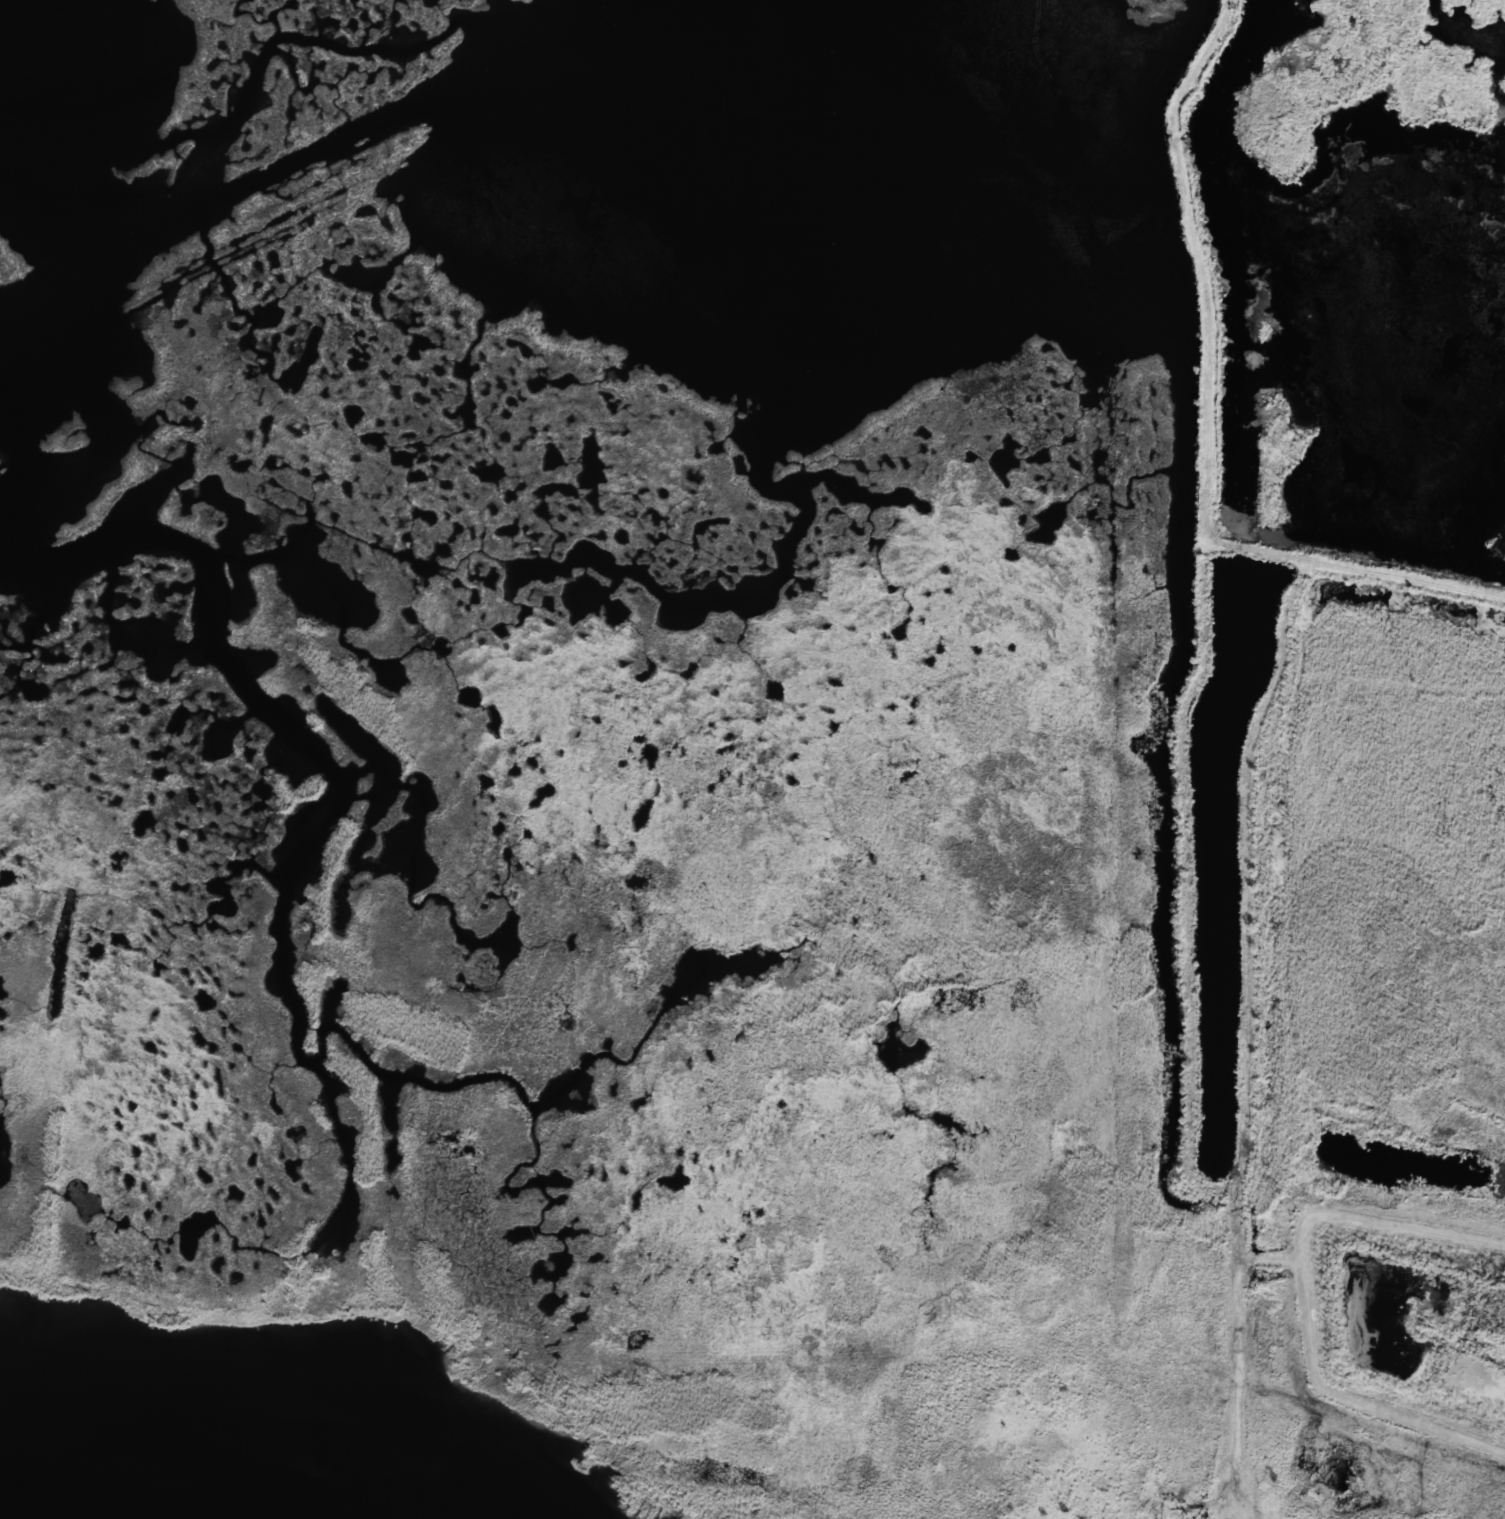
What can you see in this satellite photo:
road: (1174, 1016)

